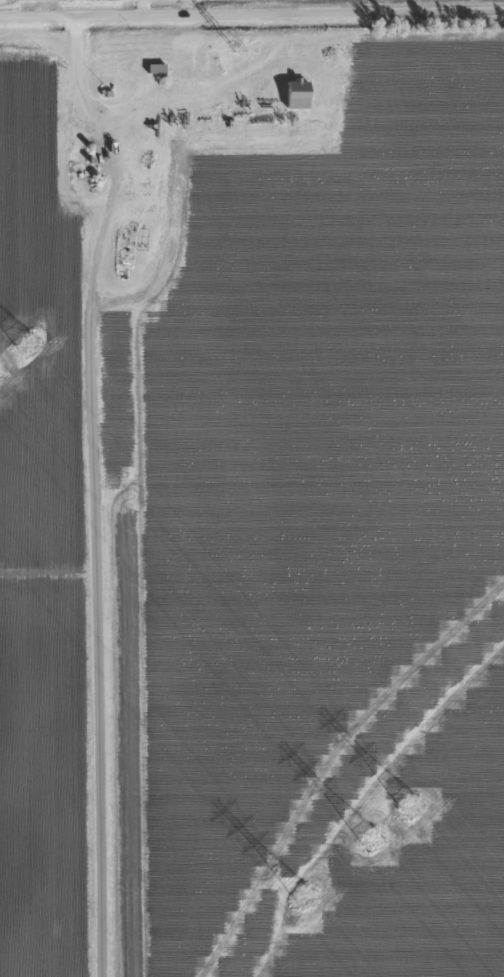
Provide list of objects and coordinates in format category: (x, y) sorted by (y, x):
road: (251, 16)
power tower: (220, 42)
building: (156, 70)
building: (296, 96)
power tower: (28, 345)
power tower: (411, 807)
power tower: (371, 843)
power tower: (305, 899)

